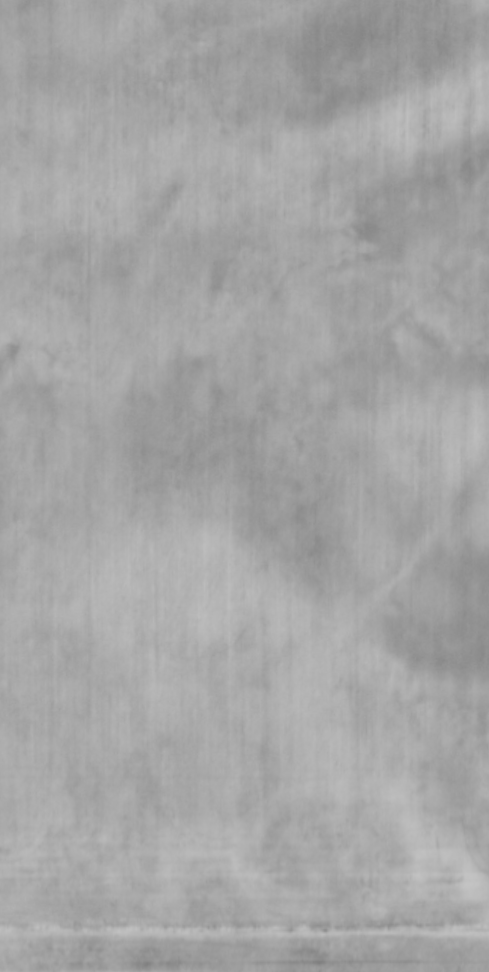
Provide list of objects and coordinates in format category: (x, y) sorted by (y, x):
road: (244, 925)

